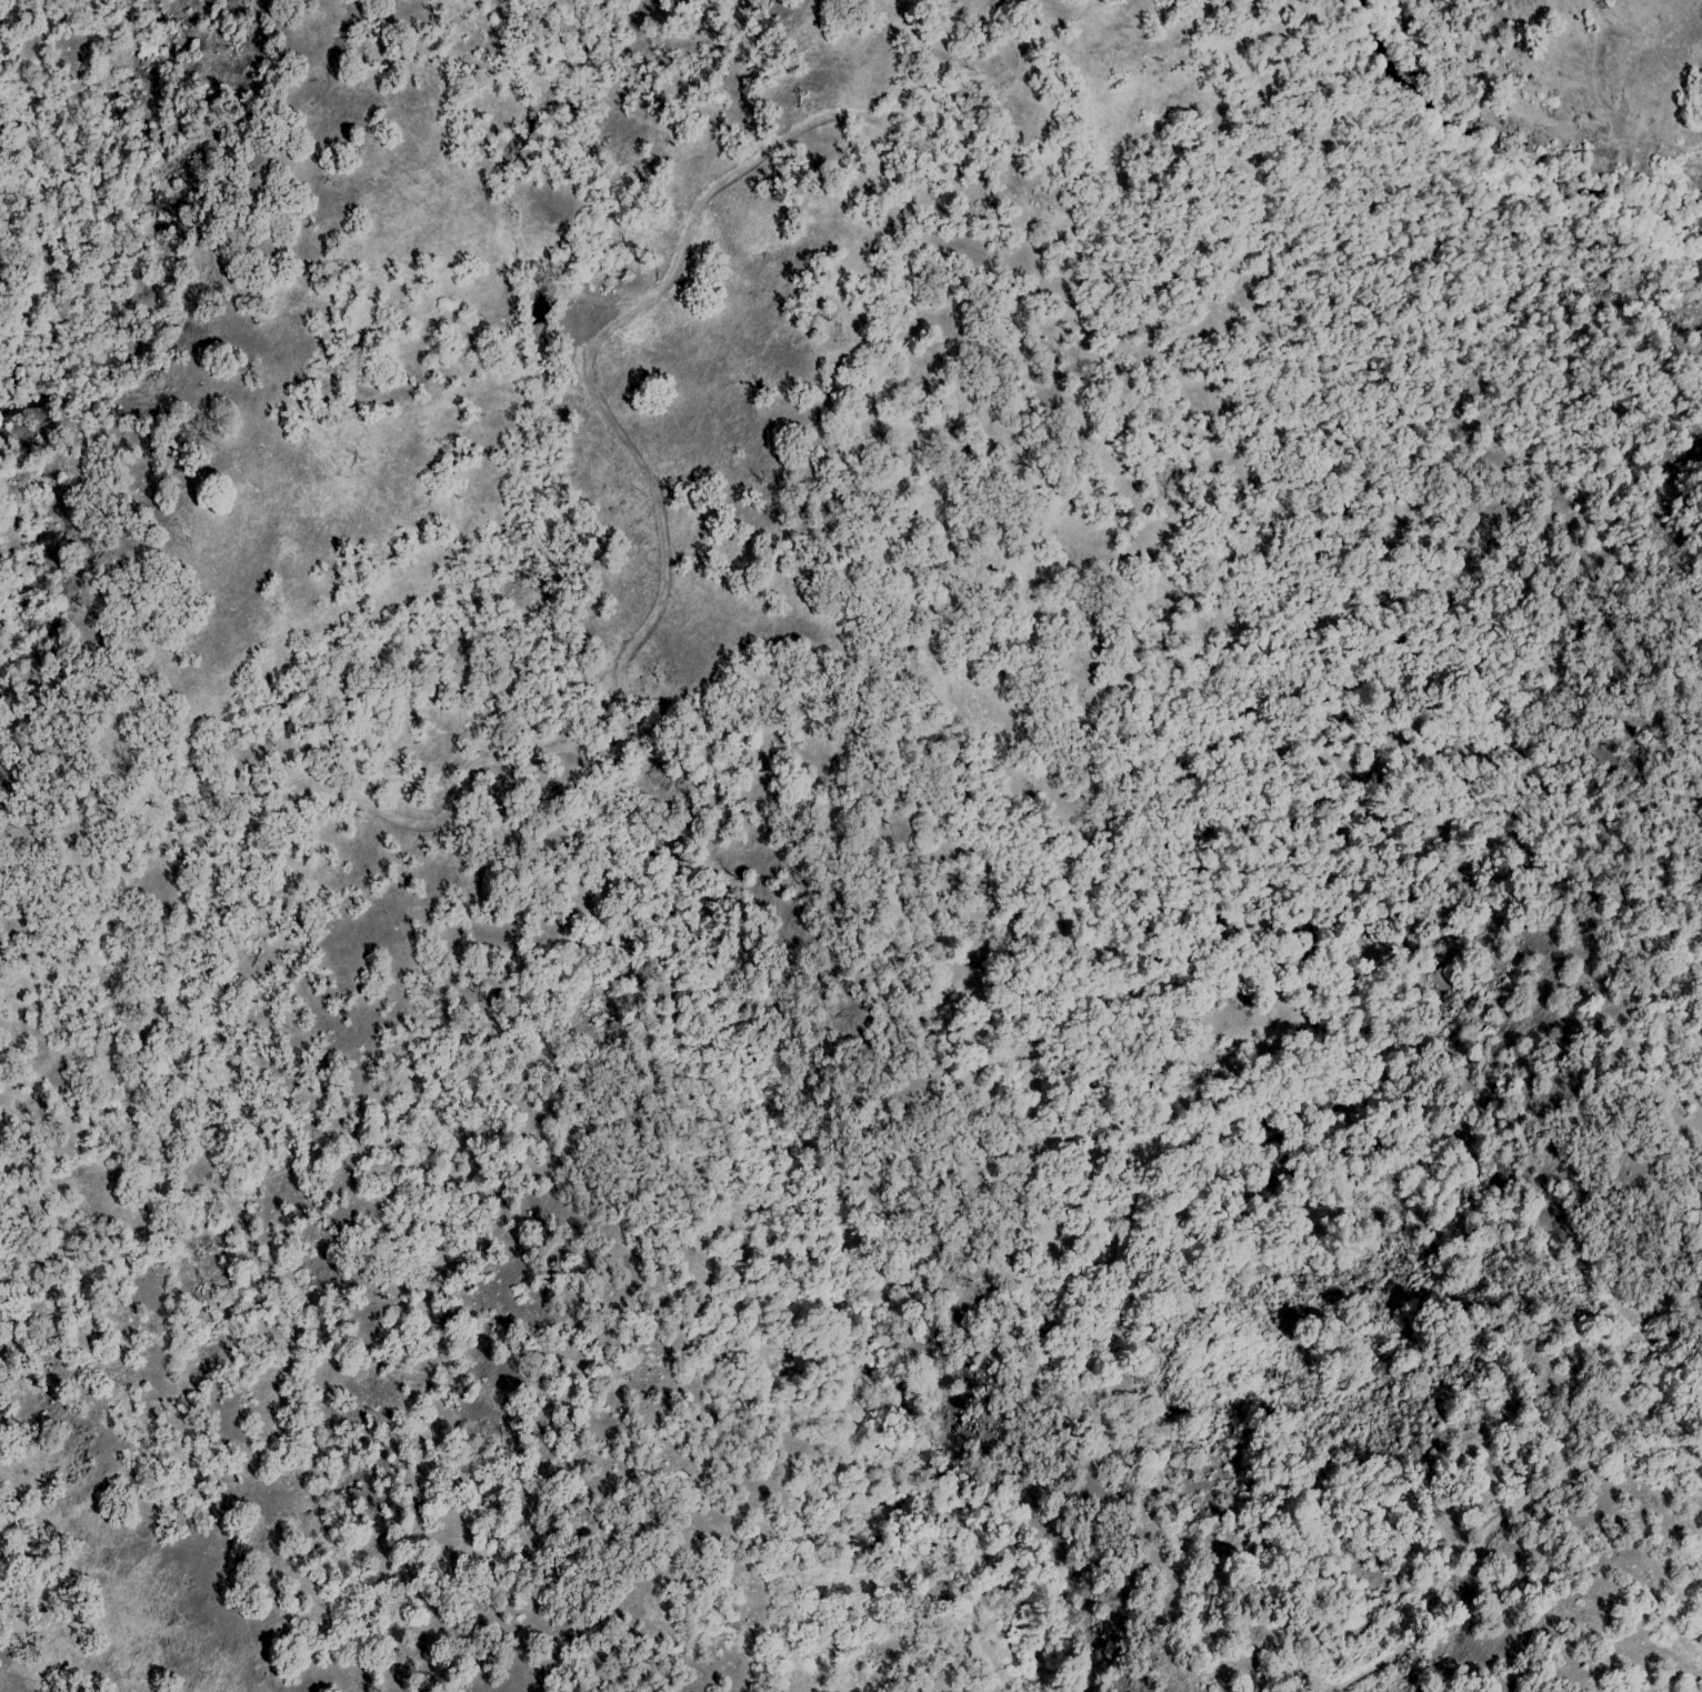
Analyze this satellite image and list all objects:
river: (1482, 162)

